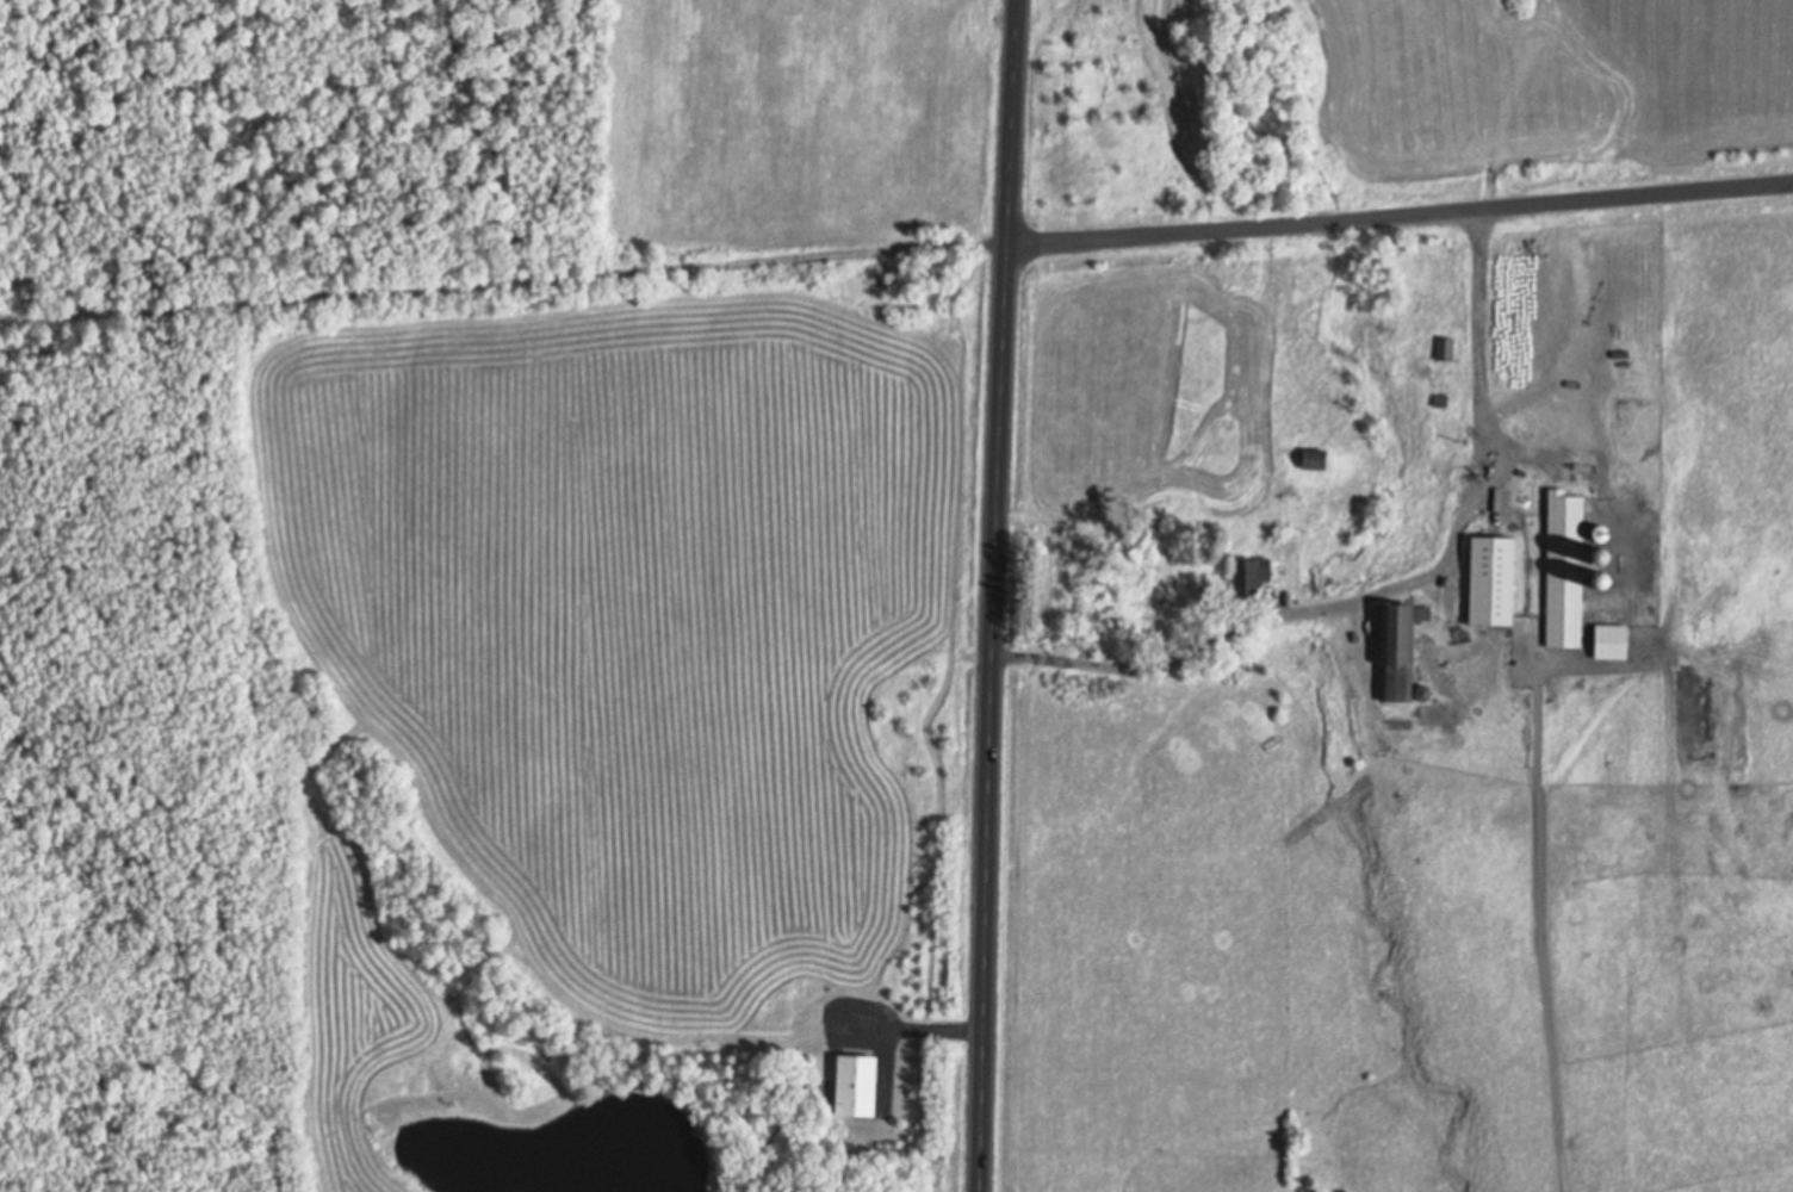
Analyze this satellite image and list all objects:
road: (1400, 216)
road: (504, 285)
building: (1445, 346)
building: (1440, 399)
building: (1313, 458)
building: (1601, 532)
building: (1566, 567)
building: (1247, 573)
building: (1491, 578)
building: (1602, 579)
road: (1396, 585)
road: (997, 595)
building: (1421, 613)
building: (1611, 641)
building: (1396, 651)
building: (1422, 691)
building: (854, 1082)

